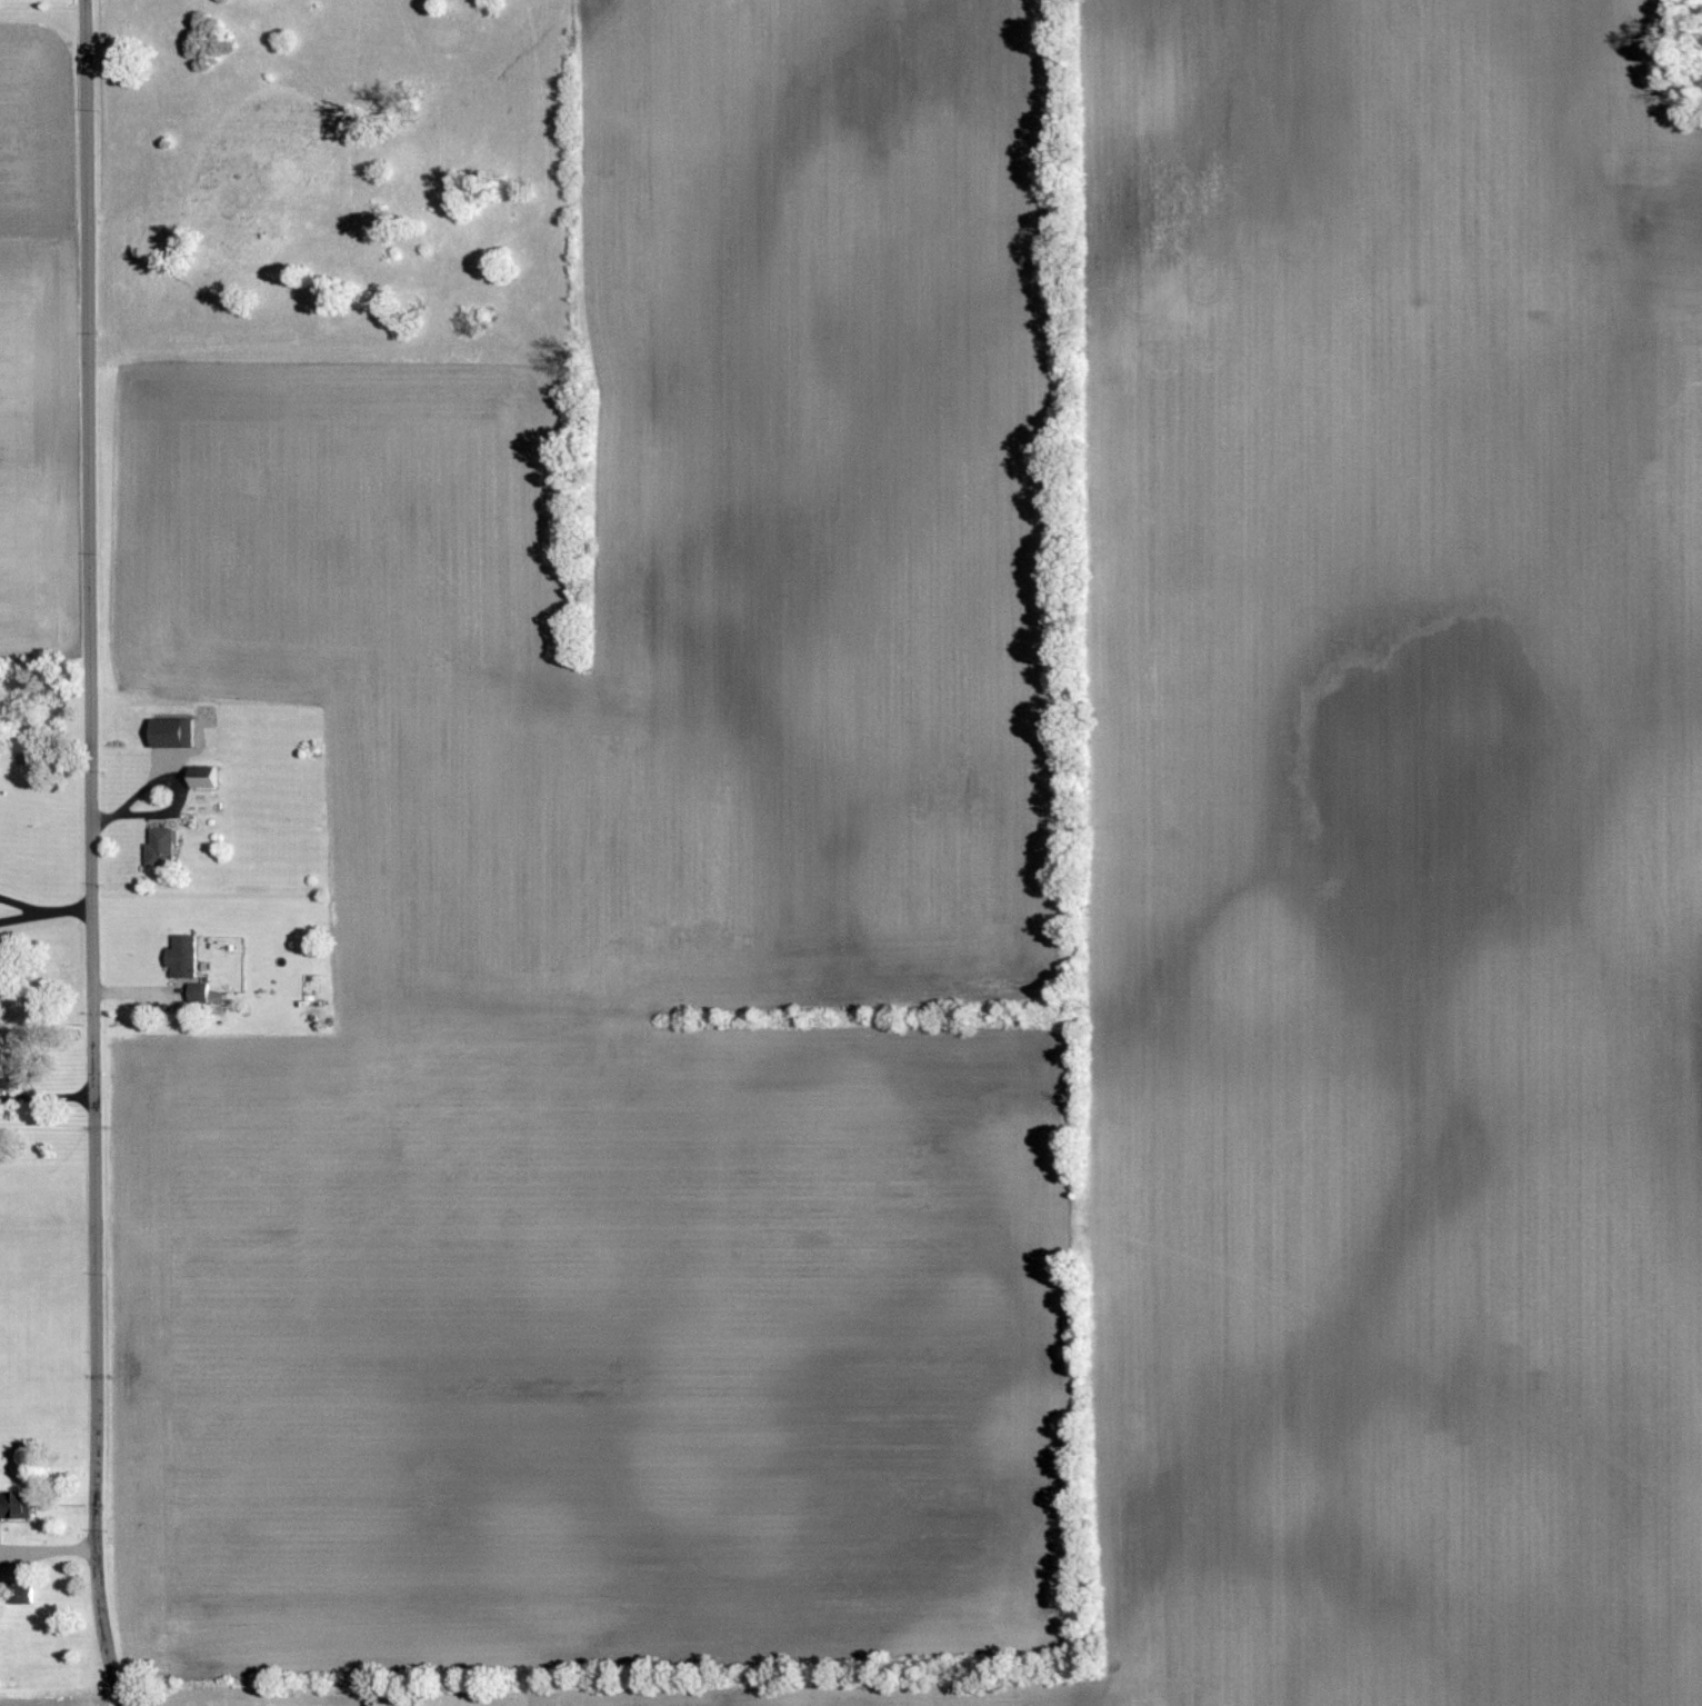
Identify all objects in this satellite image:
building: (168, 732)
building: (200, 777)
building: (159, 847)
road: (90, 851)
road: (20, 906)
road: (66, 909)
road: (20, 917)
building: (180, 957)
building: (1, 1065)
building: (12, 1507)
road: (48, 1549)
building: (22, 1596)
road: (120, 1703)

